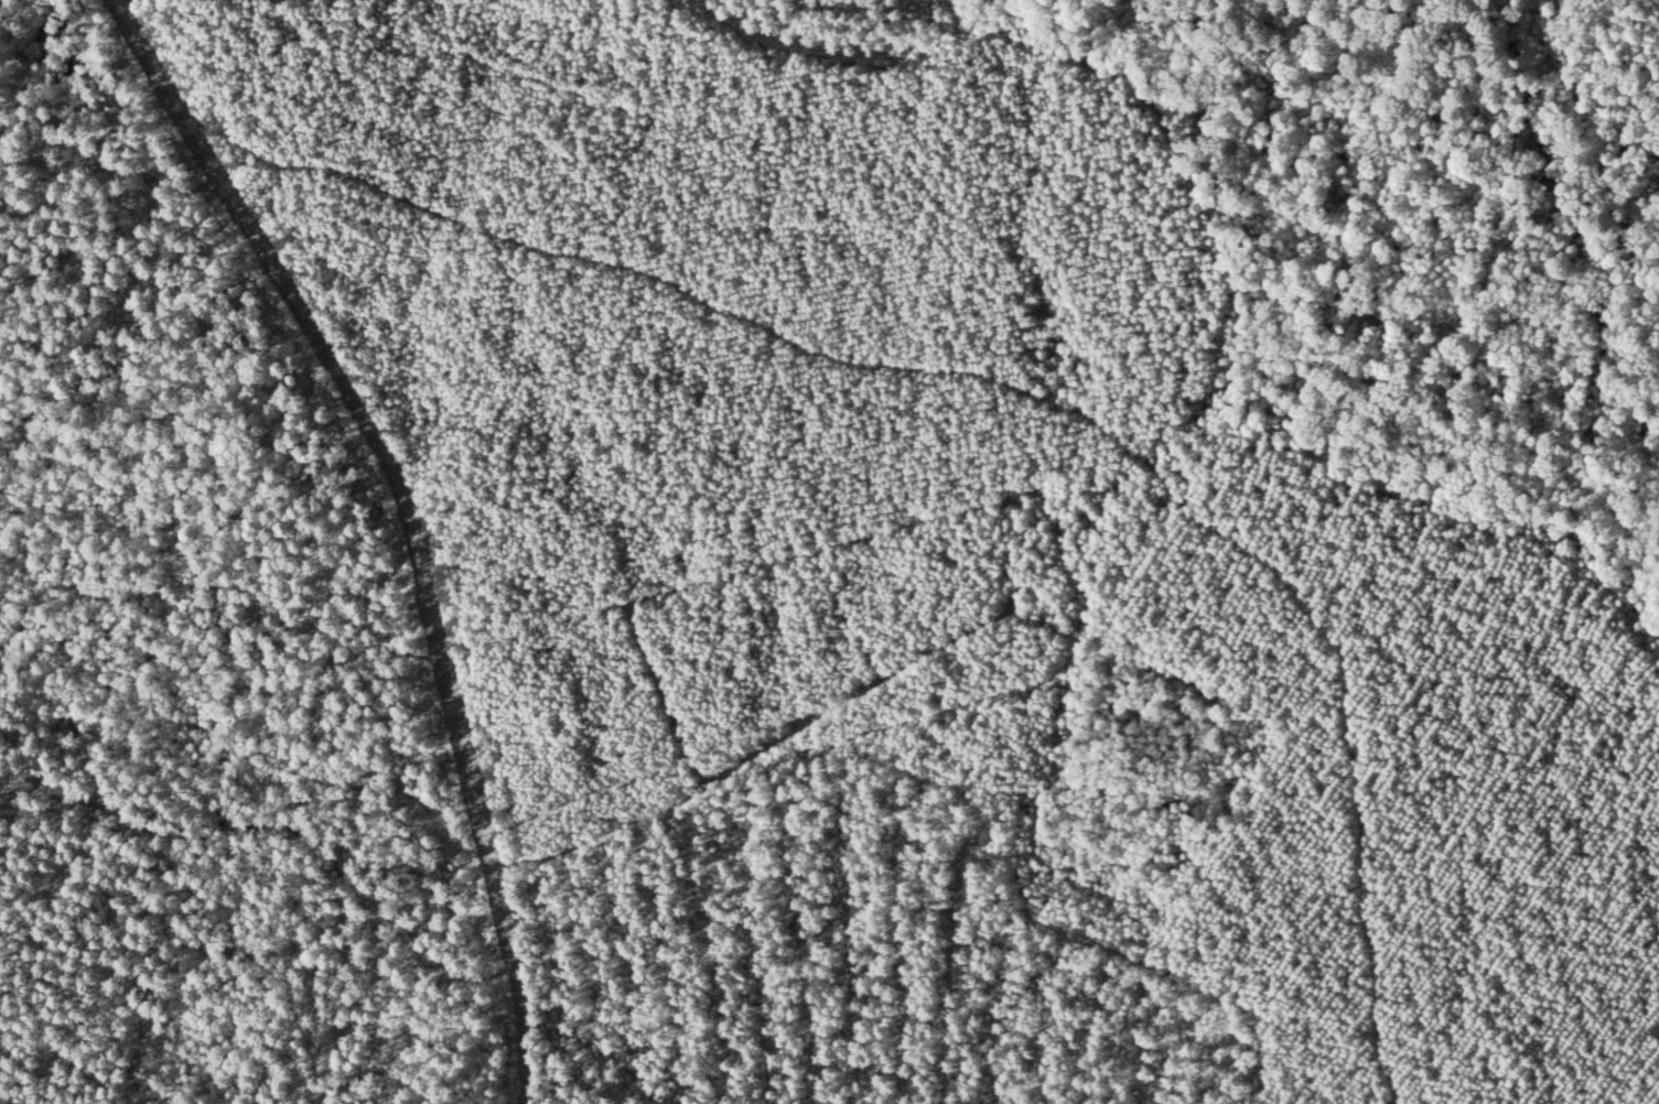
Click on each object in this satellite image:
road: (408, 533)

